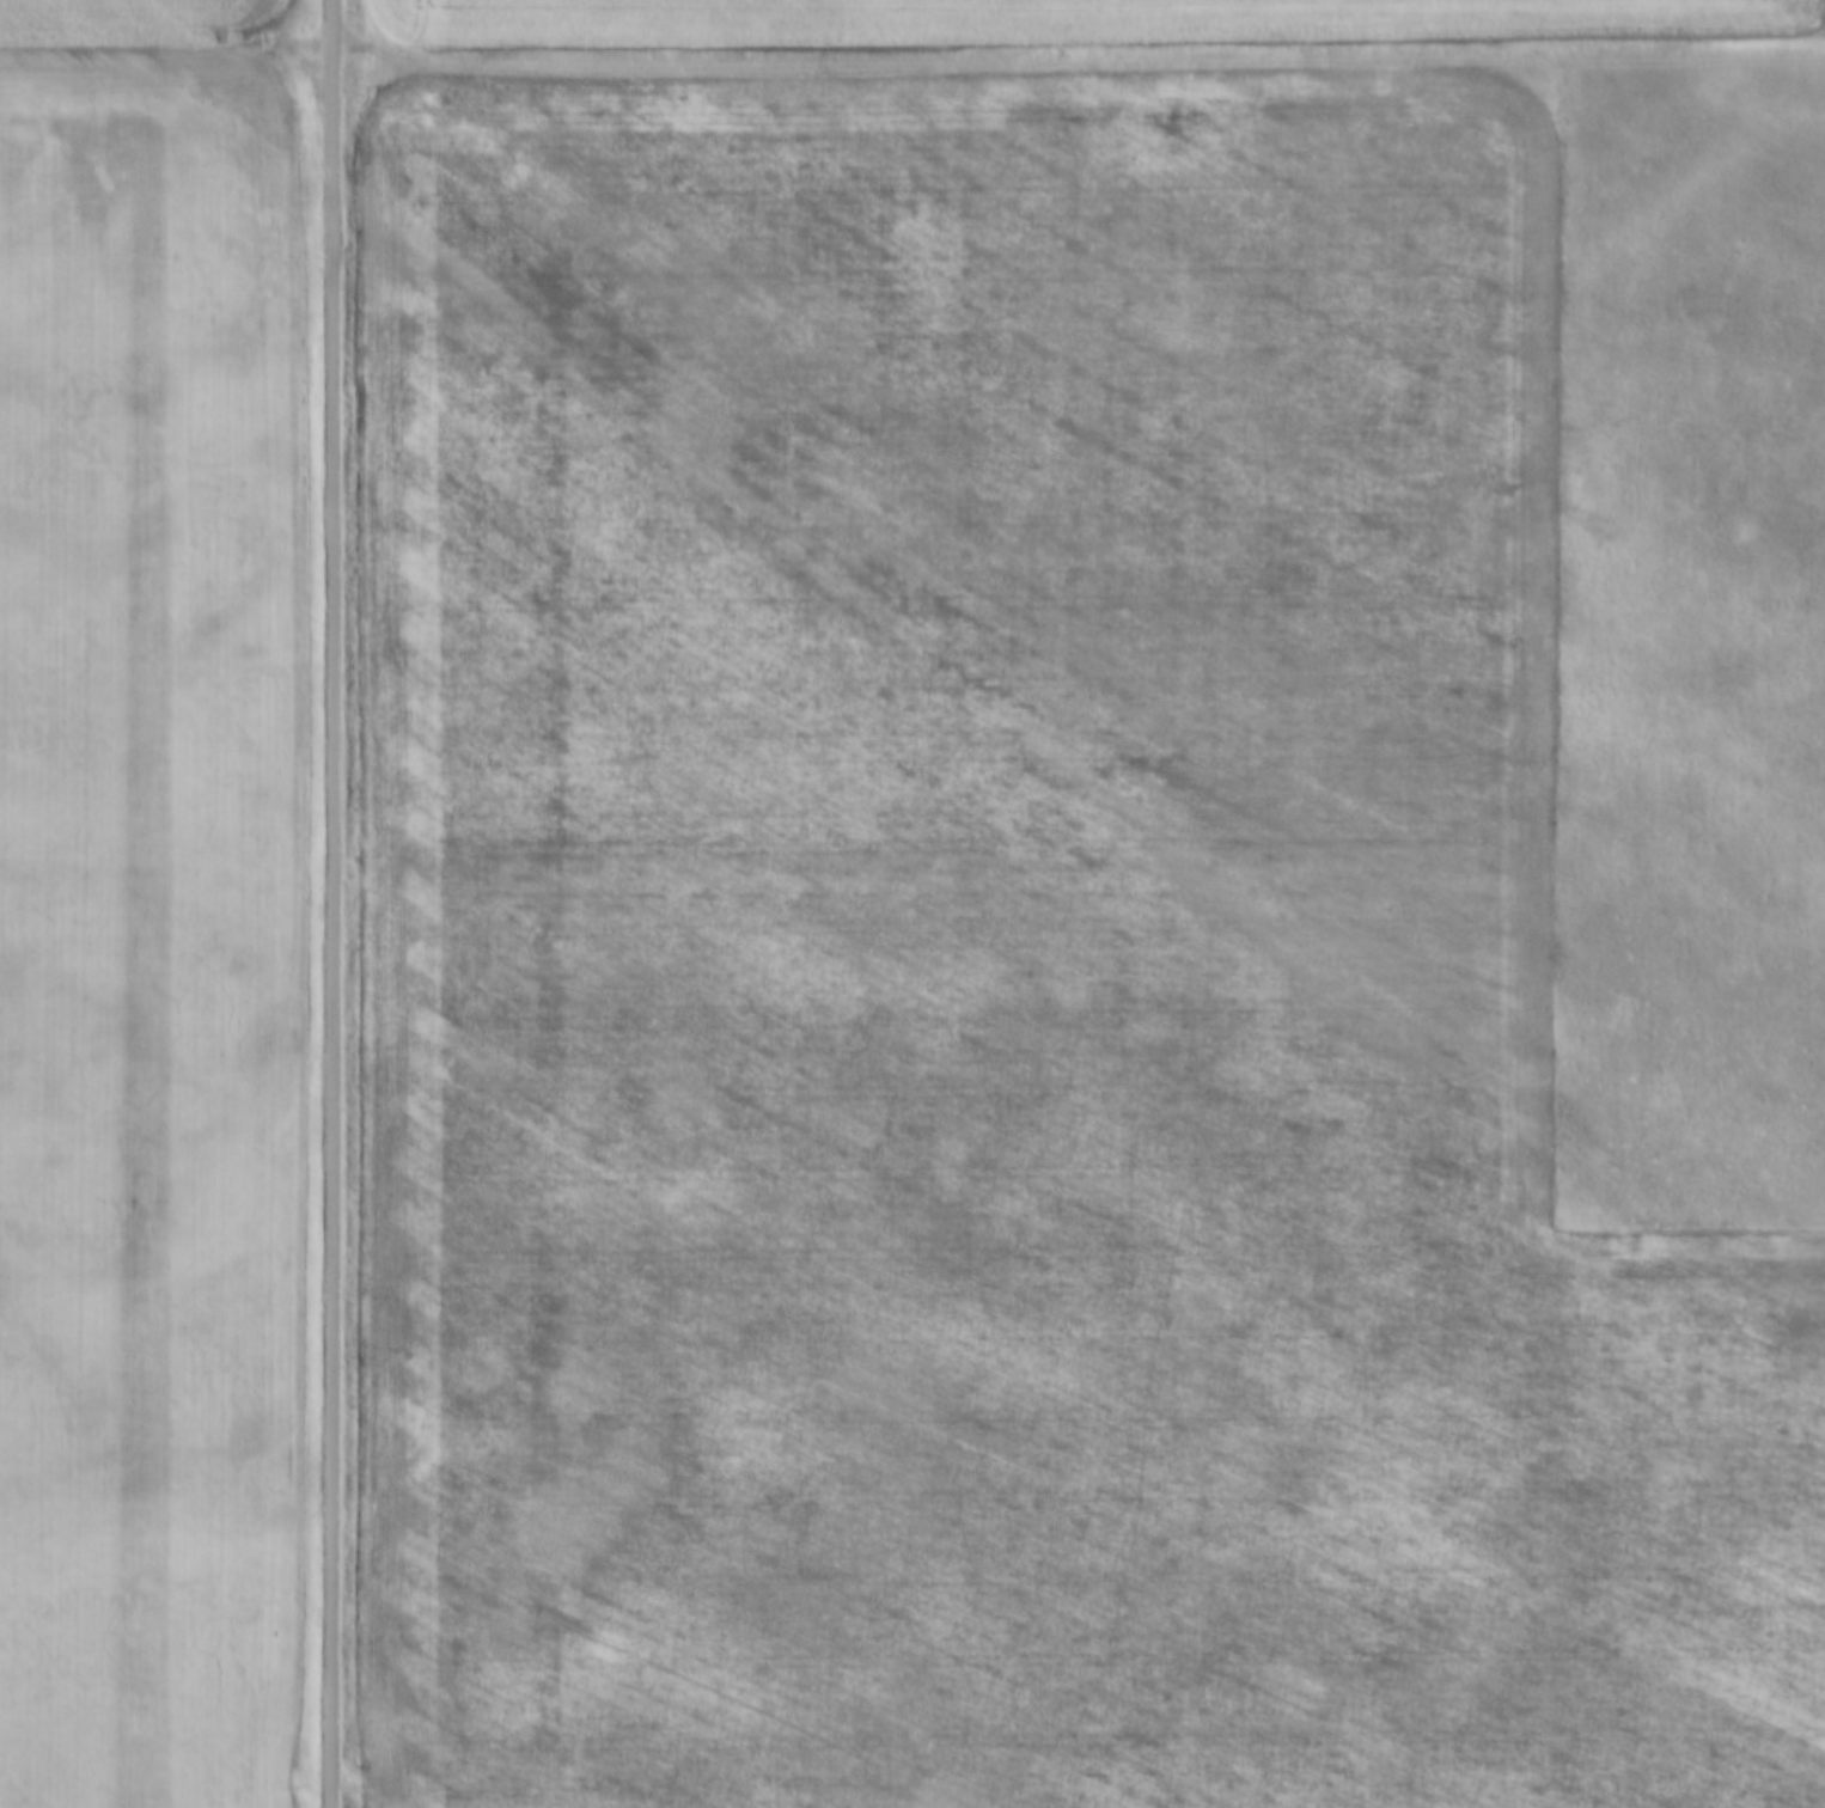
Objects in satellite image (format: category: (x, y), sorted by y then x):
road: (337, 904)

